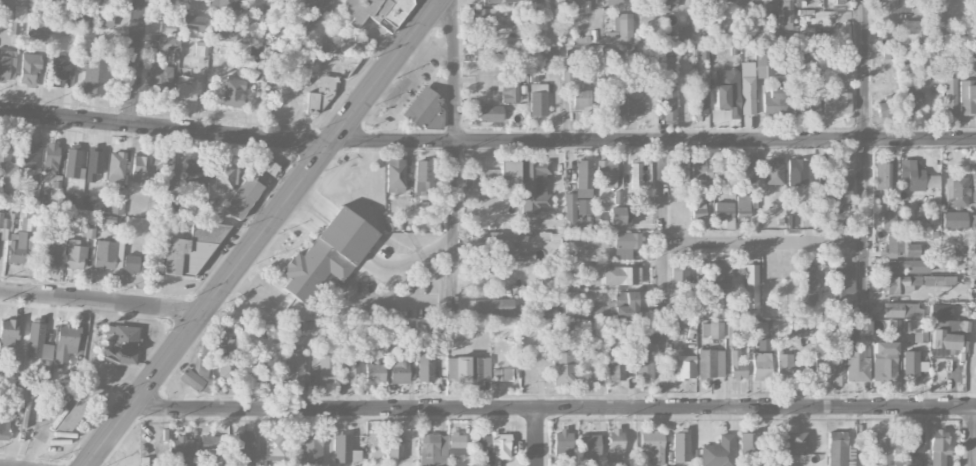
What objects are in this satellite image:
building: (799, 0)
building: (80, 1)
building: (727, 1)
building: (841, 1)
building: (495, 2)
building: (755, 2)
building: (890, 2)
building: (225, 3)
building: (281, 3)
building: (670, 3)
building: (902, 4)
building: (568, 5)
building: (974, 7)
building: (781, 9)
building: (314, 10)
building: (374, 12)
building: (487, 18)
building: (104, 19)
building: (193, 22)
building: (166, 27)
building: (37, 29)
building: (620, 29)
building: (744, 30)
building: (911, 32)
building: (223, 34)
building: (683, 34)
building: (839, 35)
building: (168, 43)
building: (485, 51)
building: (968, 53)
building: (765, 61)
road: (135, 62)
building: (6, 65)
building: (255, 67)
building: (29, 69)
building: (569, 69)
building: (329, 70)
building: (906, 70)
building: (59, 71)
building: (94, 75)
building: (159, 82)
building: (186, 87)
building: (747, 88)
building: (233, 91)
building: (509, 91)
building: (727, 91)
building: (950, 94)
building: (967, 96)
building: (581, 97)
building: (538, 99)
building: (774, 100)
building: (909, 100)
building: (808, 103)
building: (837, 104)
building: (635, 105)
building: (669, 105)
building: (421, 106)
building: (698, 106)
building: (611, 107)
building: (886, 107)
building: (490, 113)
building: (719, 115)
road: (164, 128)
road: (655, 141)
road: (866, 150)
building: (29, 154)
building: (50, 157)
road: (455, 158)
building: (72, 161)
building: (94, 164)
building: (7, 165)
building: (269, 166)
building: (139, 167)
building: (676, 168)
building: (746, 168)
building: (115, 170)
building: (773, 171)
building: (797, 171)
building: (508, 172)
building: (196, 173)
building: (605, 173)
building: (164, 174)
building: (635, 174)
building: (394, 175)
building: (225, 176)
building: (884, 176)
building: (916, 176)
building: (423, 177)
building: (974, 182)
building: (487, 184)
building: (534, 185)
building: (54, 190)
building: (841, 191)
building: (956, 192)
building: (242, 197)
building: (580, 197)
building: (71, 200)
building: (170, 200)
building: (94, 203)
building: (742, 206)
building: (116, 207)
building: (698, 212)
building: (724, 213)
building: (624, 215)
building: (918, 217)
building: (888, 219)
building: (950, 219)
building: (4, 221)
building: (973, 221)
building: (25, 224)
road: (663, 230)
building: (89, 231)
road: (263, 233)
building: (494, 237)
building: (625, 244)
road: (765, 244)
building: (898, 245)
building: (16, 247)
building: (190, 251)
building: (45, 254)
building: (105, 254)
building: (328, 254)
building: (76, 255)
building: (135, 263)
building: (907, 265)
building: (678, 274)
building: (621, 275)
building: (808, 282)
building: (843, 283)
building: (915, 283)
building: (751, 286)
building: (779, 292)
road: (102, 301)
building: (631, 304)
building: (493, 307)
building: (901, 310)
building: (546, 311)
building: (602, 311)
building: (712, 329)
building: (8, 331)
building: (408, 331)
building: (273, 334)
building: (951, 336)
building: (657, 337)
building: (37, 341)
building: (65, 342)
building: (120, 343)
building: (563, 353)
building: (833, 358)
building: (885, 362)
building: (710, 363)
building: (228, 364)
building: (857, 364)
building: (425, 365)
building: (644, 365)
building: (737, 365)
building: (761, 365)
building: (910, 365)
building: (294, 366)
building: (450, 366)
building: (685, 366)
building: (616, 367)
building: (785, 367)
building: (327, 368)
building: (472, 369)
building: (399, 370)
building: (347, 371)
building: (262, 372)
building: (374, 373)
building: (504, 373)
building: (196, 375)
road: (973, 391)
road: (555, 404)
building: (4, 428)
road: (537, 435)
road: (973, 435)
building: (794, 442)
building: (563, 443)
building: (914, 443)
building: (212, 444)
building: (274, 445)
building: (457, 445)
building: (615, 445)
building: (680, 445)
building: (244, 446)
building: (395, 446)
building: (589, 446)
building: (653, 446)
building: (184, 447)
building: (938, 447)
building: (311, 448)
building: (494, 448)
building: (344, 449)
building: (750, 449)
building: (433, 450)
building: (839, 450)
building: (882, 450)
building: (718, 452)

